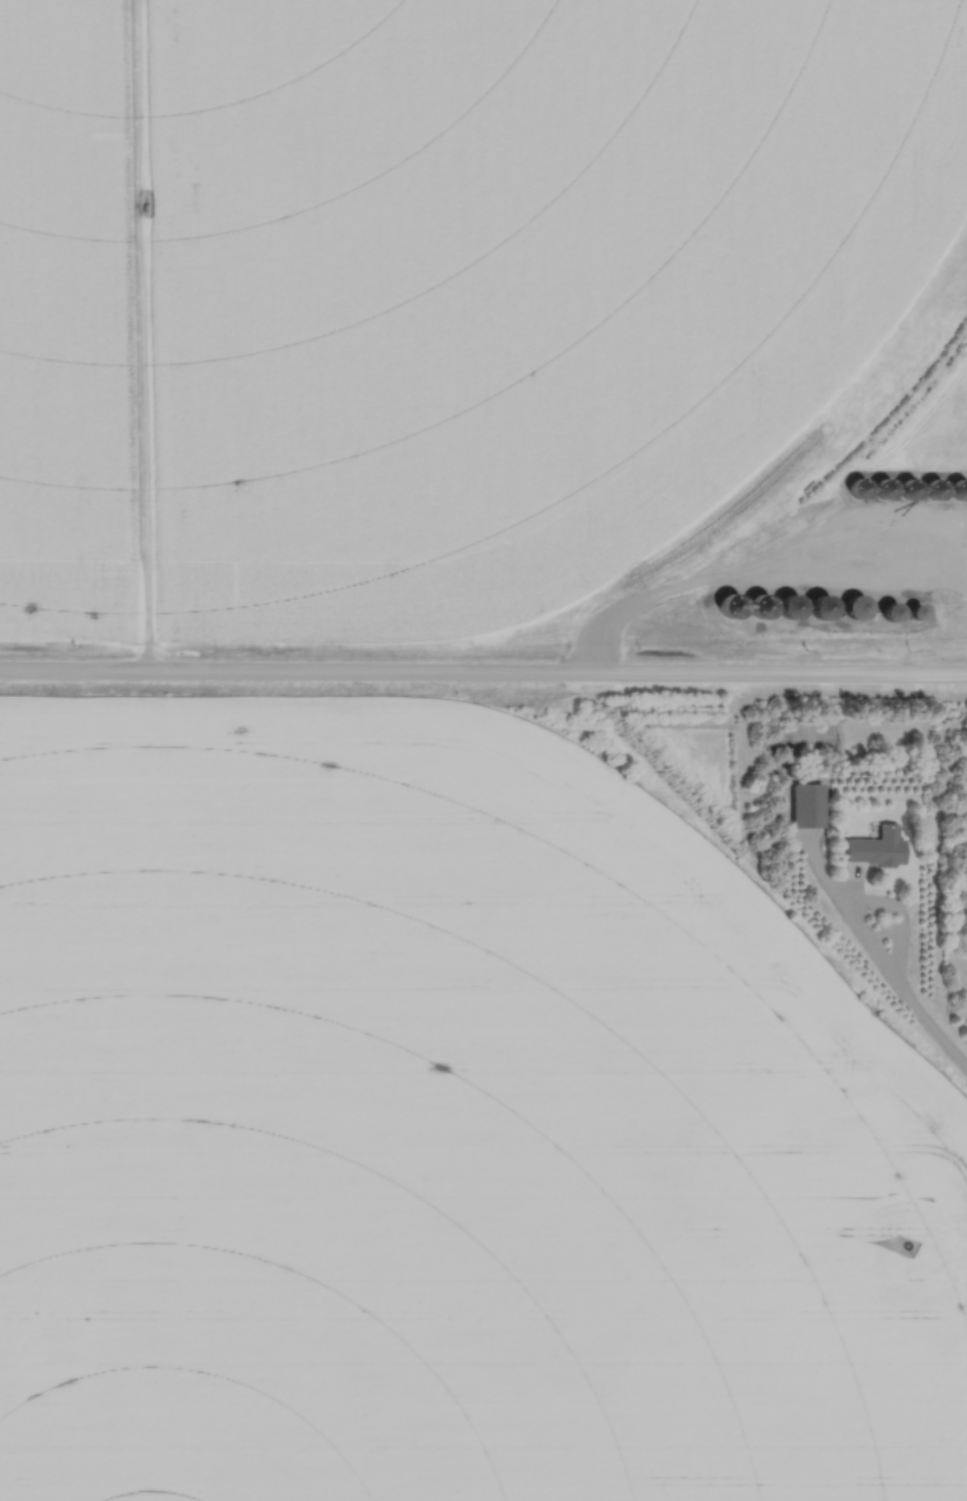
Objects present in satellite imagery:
building: (782, 608)
building: (851, 609)
building: (813, 611)
building: (885, 614)
building: (910, 614)
road: (483, 672)
building: (803, 807)
building: (875, 849)

